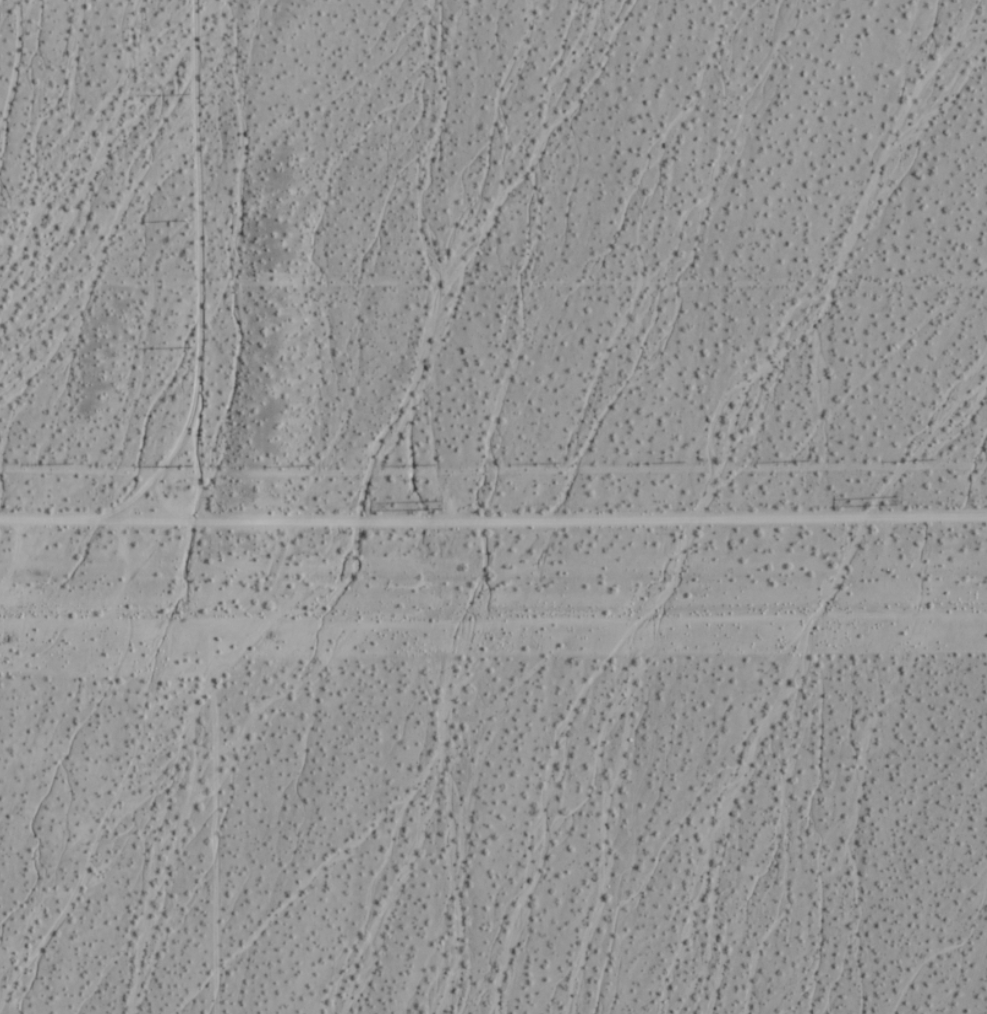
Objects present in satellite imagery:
power tower: (891, 500)
power tower: (430, 505)
road: (493, 523)

